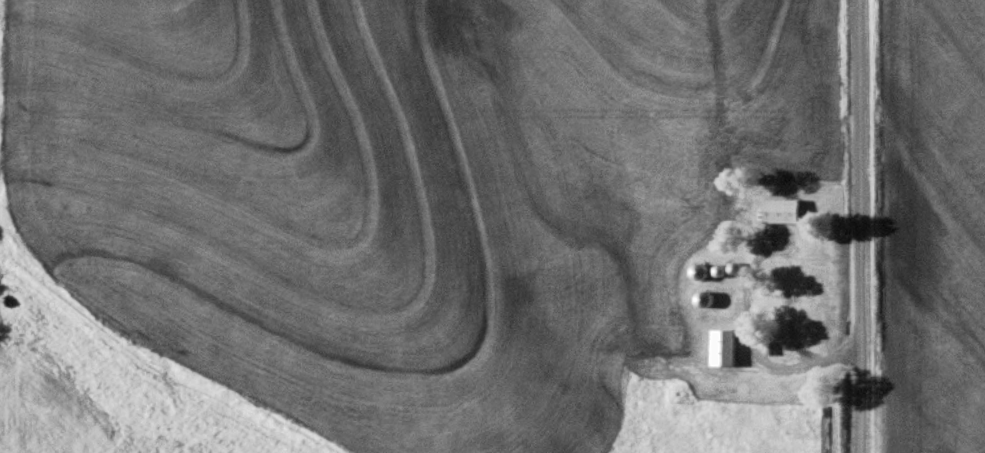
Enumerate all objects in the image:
building: (783, 208)
road: (858, 226)
building: (705, 269)
building: (709, 296)
building: (726, 345)

